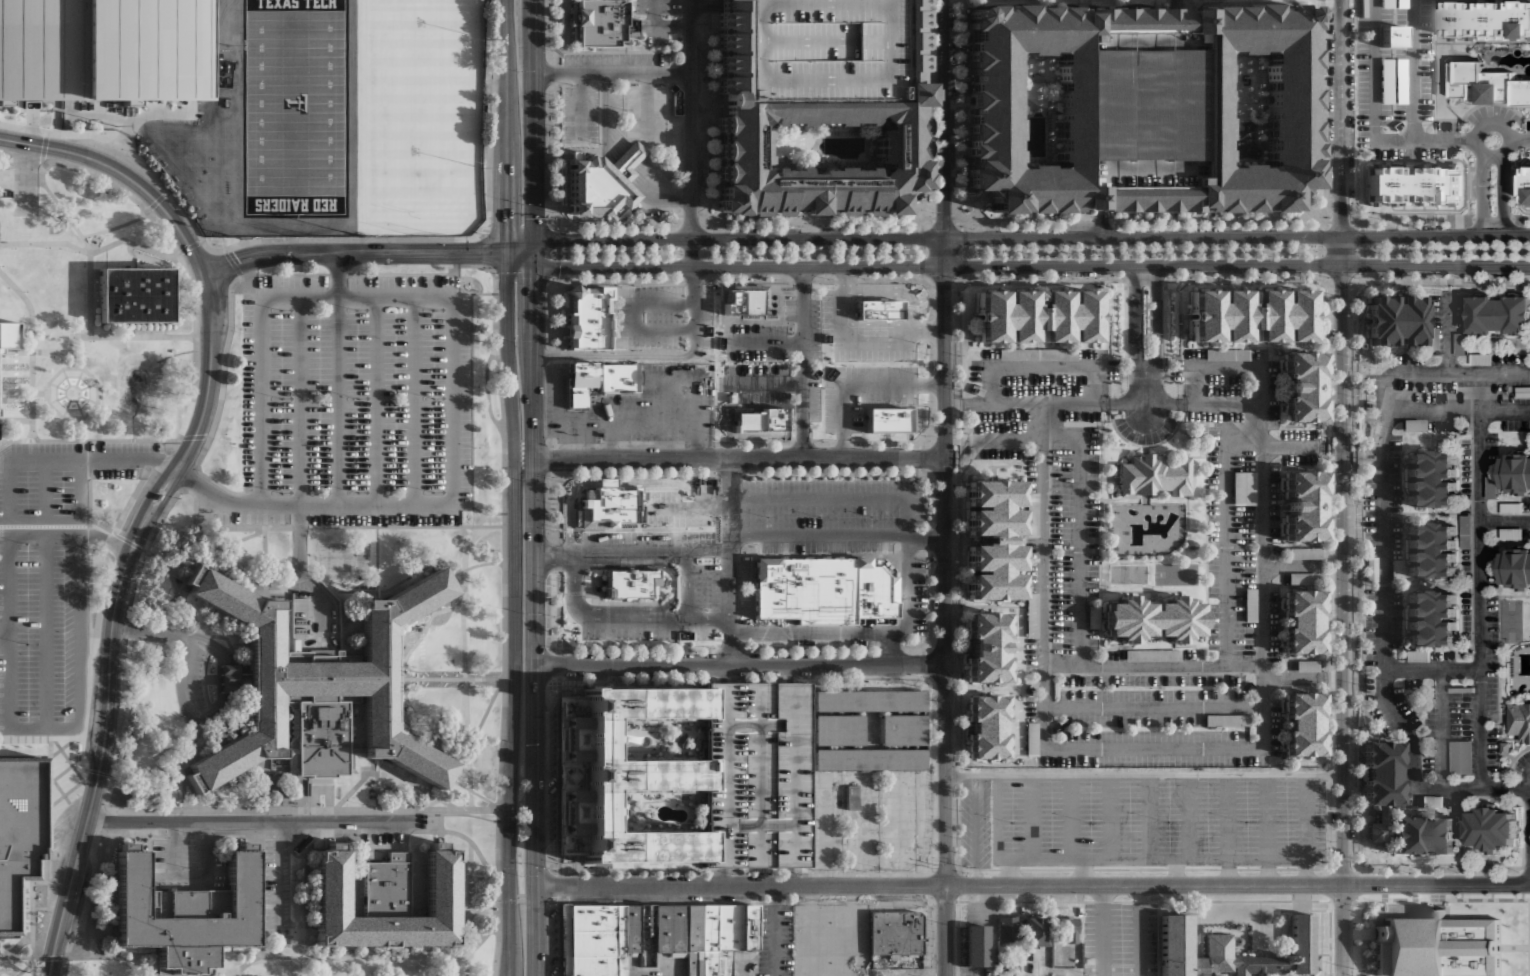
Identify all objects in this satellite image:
building: (1387, 4)
building: (1401, 4)
road: (705, 5)
road: (1178, 5)
parking lot: (641, 7)
parking lot: (672, 7)
parking lot: (1363, 15)
parking lot: (1401, 15)
parking lot: (1387, 16)
building: (1487, 19)
building: (604, 23)
road: (659, 26)
building: (1393, 36)
parking lot: (657, 40)
parking lot: (819, 48)
building: (100, 49)
parking lot: (1385, 53)
parking lot: (1400, 53)
parking lot: (617, 59)
parking lot: (703, 60)
parking lot: (1425, 60)
road: (1415, 70)
road: (612, 74)
building: (1386, 80)
building: (1400, 80)
building: (1486, 85)
parking lot: (1363, 94)
road: (582, 108)
road: (648, 108)
building: (148, 109)
building: (991, 109)
parking lot: (1141, 109)
building: (820, 110)
parking lot: (581, 111)
parking lot: (1400, 111)
parking lot: (648, 113)
parking lot: (1386, 114)
parking lot: (1475, 114)
parking lot: (1507, 114)
park: (361, 117)
road: (606, 118)
road: (943, 119)
road: (1376, 119)
road: (508, 126)
road: (534, 126)
parking lot: (1445, 126)
road: (1501, 126)
road: (23, 127)
road: (617, 134)
road: (613, 137)
road: (611, 139)
road: (1519, 140)
parking lot: (581, 141)
road: (608, 142)
road: (635, 151)
parking lot: (1438, 152)
parking lot: (1387, 154)
road: (630, 157)
road: (20, 158)
road: (628, 164)
parking lot: (703, 168)
road: (624, 169)
road: (122, 174)
road: (619, 175)
road: (660, 177)
road: (26, 178)
road: (691, 178)
building: (601, 181)
building: (1412, 184)
building: (1527, 184)
road: (662, 188)
road: (655, 189)
building: (6, 192)
road: (51, 196)
road: (652, 196)
road: (651, 200)
road: (1504, 201)
road: (1483, 202)
road: (1103, 224)
road: (115, 226)
road: (1237, 237)
road: (737, 238)
road: (357, 240)
road: (45, 243)
park: (1043, 250)
road: (1041, 251)
road: (554, 252)
road: (944, 252)
road: (352, 253)
traffic signals: (508, 253)
road: (521, 253)
traffic signals: (535, 253)
road: (182, 261)
road: (1236, 266)
road: (737, 267)
road: (880, 287)
building: (136, 295)
road: (853, 297)
building: (588, 298)
building: (746, 299)
road: (88, 301)
building: (876, 309)
parking lot: (828, 311)
parking lot: (1447, 311)
building: (1249, 314)
building: (1499, 314)
road: (638, 316)
building: (1035, 316)
parking lot: (665, 317)
building: (1396, 320)
building: (587, 324)
road: (918, 329)
parking lot: (816, 330)
road: (1448, 333)
building: (10, 335)
building: (1434, 338)
road: (861, 341)
building: (588, 342)
parking lot: (758, 343)
road: (765, 343)
building: (1459, 343)
road: (450, 345)
road: (31, 351)
road: (53, 351)
parking lot: (1434, 352)
parking lot: (990, 353)
parking lot: (876, 354)
building: (1036, 354)
parking lot: (1086, 354)
parking lot: (1195, 354)
building: (1226, 354)
parking lot: (1253, 354)
road: (623, 356)
road: (71, 359)
building: (1481, 359)
road: (804, 363)
road: (499, 367)
road: (1043, 367)
building: (976, 370)
parking lot: (976, 370)
parking lot: (1114, 370)
parking lot: (1178, 370)
parking lot: (882, 371)
road: (1145, 371)
building: (619, 378)
road: (338, 380)
building: (581, 382)
parking lot: (758, 382)
road: (689, 383)
road: (762, 384)
road: (895, 384)
parking lot: (1045, 384)
parking lot: (1223, 384)
road: (487, 385)
building: (1301, 385)
road: (39, 392)
parking lot: (1273, 392)
road: (1146, 394)
parking lot: (881, 397)
building: (731, 398)
parking lot: (816, 398)
road: (15, 399)
parking lot: (356, 400)
road: (96, 401)
road: (300, 401)
road: (375, 401)
road: (413, 401)
road: (1102, 405)
parking lot: (830, 406)
parking lot: (640, 408)
road: (563, 409)
road: (1457, 411)
parking lot: (1080, 415)
parking lot: (1215, 415)
building: (917, 417)
parking lot: (1442, 418)
road: (15, 419)
parking lot: (857, 419)
road: (615, 420)
building: (761, 420)
building: (887, 420)
parking lot: (1004, 420)
road: (846, 421)
building: (1413, 424)
parking lot: (1122, 425)
road: (72, 428)
parking lot: (1161, 431)
parking lot: (1301, 434)
road: (88, 440)
road: (1290, 447)
parking lot: (1092, 448)
parking lot: (1001, 452)
road: (12, 458)
road: (739, 459)
parking lot: (1300, 459)
road: (524, 460)
parking lot: (1243, 460)
parking lot: (1214, 463)
road: (78, 472)
building: (1517, 473)
building: (1154, 475)
parking lot: (1031, 476)
parking lot: (62, 478)
building: (1430, 478)
road: (602, 483)
parking lot: (829, 486)
parking lot: (705, 487)
road: (1343, 487)
building: (1491, 487)
building: (1244, 488)
road: (43, 489)
parking lot: (660, 495)
road: (892, 498)
road: (1080, 499)
road: (130, 500)
parking lot: (1274, 504)
building: (1302, 504)
building: (609, 505)
road: (666, 508)
parking lot: (921, 508)
road: (90, 512)
parking lot: (823, 517)
parking lot: (660, 521)
road: (1505, 521)
road: (349, 526)
parking lot: (706, 529)
building: (1511, 532)
road: (69, 534)
road: (838, 535)
road: (1229, 535)
parking lot: (628, 537)
road: (202, 540)
building: (994, 540)
road: (125, 544)
road: (216, 548)
parking lot: (829, 548)
building: (1430, 548)
road: (709, 549)
parking lot: (1062, 549)
building: (1304, 553)
road: (611, 555)
park: (344, 557)
road: (264, 561)
road: (687, 562)
road: (731, 562)
road: (479, 564)
road: (1290, 566)
building: (1517, 566)
road: (303, 571)
road: (1386, 572)
building: (767, 573)
building: (193, 575)
road: (945, 576)
road: (1480, 581)
building: (630, 584)
parking lot: (707, 586)
parking lot: (746, 586)
building: (798, 589)
building: (823, 590)
building: (843, 590)
building: (873, 591)
parking lot: (920, 597)
building: (768, 604)
road: (664, 607)
road: (188, 609)
road: (155, 613)
road: (515, 614)
road: (535, 614)
building: (1031, 615)
building: (1430, 616)
road: (112, 617)
building: (1153, 617)
road: (667, 619)
park: (1510, 619)
road: (429, 620)
building: (1302, 621)
parking lot: (42, 629)
road: (44, 630)
road: (78, 630)
road: (826, 633)
parking lot: (630, 634)
parking lot: (707, 635)
road: (90, 636)
building: (985, 646)
road: (464, 663)
road: (8, 664)
road: (741, 665)
building: (1306, 665)
road: (1153, 667)
road: (1433, 670)
road: (723, 674)
road: (791, 674)
road: (227, 678)
road: (453, 678)
road: (1302, 680)
building: (321, 692)
road: (120, 699)
building: (865, 701)
road: (1153, 707)
building: (571, 717)
building: (1519, 719)
road: (425, 722)
building: (1302, 723)
building: (987, 726)
road: (1442, 729)
building: (835, 730)
building: (901, 730)
road: (69, 737)
building: (1032, 746)
building: (1505, 746)
road: (101, 747)
road: (1224, 748)
road: (468, 749)
building: (571, 756)
building: (1461, 757)
building: (865, 758)
parking lot: (1521, 759)
parking lot: (551, 765)
road: (388, 768)
road: (180, 774)
building: (756, 774)
parking garage: (756, 774)
road: (1145, 774)
building: (637, 777)
building: (571, 781)
road: (143, 783)
road: (50, 784)
road: (265, 786)
road: (377, 786)
road: (140, 787)
road: (934, 791)
building: (1380, 791)
road: (475, 793)
building: (852, 797)
building: (571, 808)
road: (137, 809)
road: (336, 809)
parking lot: (925, 810)
road: (1032, 816)
road: (1072, 816)
road: (1111, 816)
road: (1150, 816)
road: (1189, 816)
road: (256, 820)
parking lot: (1159, 821)
parking lot: (825, 822)
parking lot: (900, 822)
parking lot: (976, 823)
parking lot: (863, 825)
building: (1490, 827)
road: (1229, 829)
road: (1269, 829)
road: (1307, 829)
road: (827, 830)
road: (899, 830)
road: (933, 830)
road: (976, 830)
road: (340, 831)
road: (864, 831)
building: (20, 834)
road: (466, 838)
building: (571, 841)
road: (1110, 859)
road: (358, 870)
road: (281, 872)
road: (1010, 872)
road: (1085, 872)
road: (1177, 872)
road: (189, 874)
road: (791, 876)
parking lot: (274, 878)
road: (1238, 885)
road: (557, 886)
road: (763, 886)
road: (306, 888)
road: (471, 896)
parking lot: (664, 897)
building: (385, 902)
parking lot: (898, 902)
road: (31, 911)
building: (187, 914)
building: (593, 918)
building: (1067, 928)
road: (45, 929)
building: (640, 929)
building: (670, 929)
parking lot: (931, 929)
building: (1008, 929)
road: (1141, 930)
road: (775, 931)
road: (812, 931)
road: (852, 931)
road: (947, 931)
road: (1104, 931)
building: (1035, 932)
road: (272, 933)
building: (717, 937)
parking lot: (552, 939)
parking lot: (1119, 939)
parking lot: (775, 940)
parking lot: (830, 940)
building: (896, 940)
road: (287, 942)
road: (17, 943)
building: (593, 943)
road: (281, 944)
building: (976, 946)
building: (1436, 946)
building: (1229, 951)
road: (303, 954)
road: (103, 957)
road: (368, 957)
road: (33, 958)
road: (5, 965)
road: (300, 966)
road: (386, 966)
road: (449, 966)
building: (593, 966)
road: (24, 967)
road: (65, 967)
road: (141, 972)
road: (147, 973)

